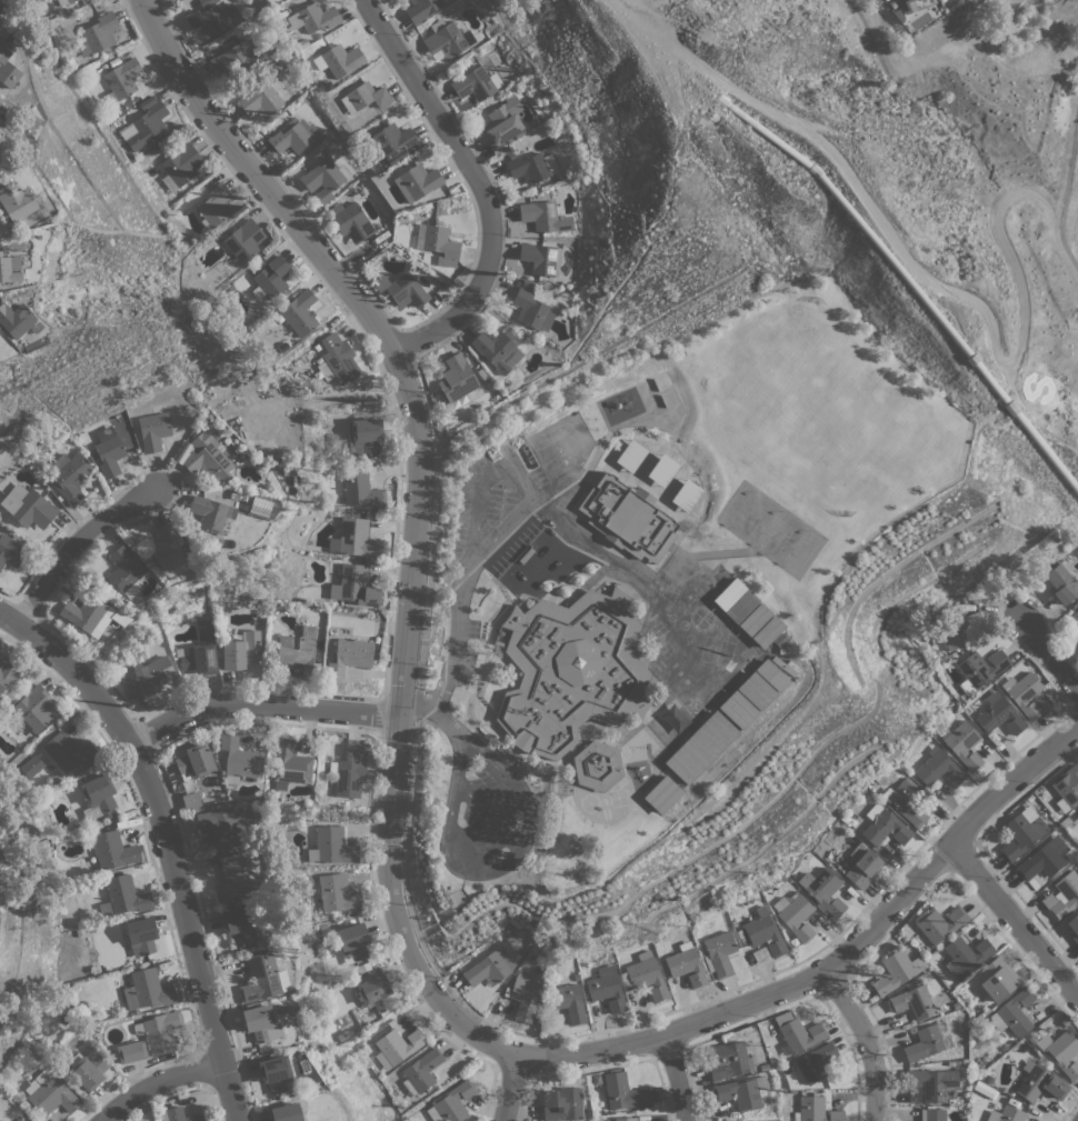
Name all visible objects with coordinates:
building: (918, 0)
road: (1, 1)
building: (63, 2)
building: (207, 3)
building: (904, 4)
building: (421, 9)
building: (898, 14)
building: (317, 17)
building: (213, 18)
building: (98, 33)
building: (447, 38)
building: (238, 57)
building: (339, 60)
building: (7, 68)
building: (122, 79)
building: (476, 83)
building: (363, 97)
building: (260, 100)
building: (144, 123)
building: (502, 124)
building: (293, 137)
building: (390, 140)
building: (180, 167)
building: (532, 167)
building: (325, 178)
building: (417, 181)
road: (478, 183)
building: (17, 202)
building: (214, 206)
building: (543, 217)
building: (350, 221)
building: (244, 240)
building: (441, 244)
building: (540, 258)
building: (9, 269)
building: (270, 276)
road: (931, 287)
building: (401, 288)
building: (531, 308)
building: (298, 313)
building: (18, 320)
road: (458, 331)
building: (497, 350)
building: (336, 359)
building: (456, 377)
road: (410, 383)
building: (153, 431)
building: (363, 436)
building: (210, 453)
building: (109, 456)
building: (631, 456)
road: (512, 467)
building: (289, 470)
building: (662, 470)
building: (70, 474)
building: (360, 488)
building: (687, 494)
building: (29, 508)
building: (210, 513)
building: (628, 518)
road: (475, 522)
building: (538, 531)
building: (355, 539)
building: (526, 544)
building: (166, 546)
road: (84, 548)
building: (11, 549)
building: (513, 558)
building: (123, 568)
building: (501, 571)
building: (1061, 582)
building: (353, 585)
road: (461, 591)
building: (729, 593)
building: (741, 605)
building: (92, 614)
building: (755, 619)
building: (1074, 620)
building: (955, 632)
building: (769, 633)
building: (241, 651)
building: (299, 651)
building: (199, 652)
building: (349, 657)
building: (2, 659)
road: (1054, 662)
building: (981, 667)
building: (571, 670)
building: (6, 674)
building: (770, 674)
building: (149, 675)
building: (755, 691)
building: (1024, 694)
road: (264, 703)
road: (436, 707)
building: (737, 709)
building: (32, 710)
building: (999, 714)
building: (964, 744)
building: (699, 747)
building: (69, 751)
building: (239, 760)
building: (194, 761)
building: (289, 764)
building: (596, 765)
building: (30, 767)
building: (938, 768)
building: (348, 771)
building: (1067, 788)
building: (662, 794)
building: (97, 795)
building: (190, 800)
building: (906, 801)
building: (1077, 808)
road: (487, 814)
building: (1077, 815)
building: (884, 825)
building: (223, 827)
building: (1022, 832)
road: (170, 834)
building: (332, 847)
building: (113, 850)
building: (1044, 859)
building: (860, 865)
road: (497, 868)
building: (236, 878)
building: (822, 890)
building: (338, 893)
building: (1062, 895)
building: (123, 897)
building: (796, 915)
road: (1016, 919)
building: (238, 925)
building: (937, 927)
building: (1074, 928)
building: (763, 932)
building: (141, 935)
building: (352, 942)
building: (719, 953)
building: (761, 955)
building: (965, 955)
building: (490, 967)
building: (687, 967)
road: (839, 967)
building: (897, 971)
road: (422, 973)
building: (260, 977)
building: (645, 977)
building: (997, 979)
building: (607, 989)
building: (147, 990)
building: (375, 992)
building: (525, 998)
building: (912, 1001)
building: (569, 1002)
building: (1014, 1012)
building: (553, 1019)
building: (260, 1023)
building: (160, 1031)
building: (799, 1032)
building: (924, 1043)
building: (398, 1044)
road: (868, 1044)
building: (131, 1052)
building: (1061, 1052)
building: (727, 1060)
building: (817, 1060)
building: (88, 1069)
building: (421, 1071)
building: (276, 1074)
road: (673, 1078)
building: (1039, 1083)
building: (929, 1084)
road: (164, 1088)
road: (513, 1088)
building: (985, 1090)
building: (622, 1091)
building: (741, 1092)
building: (51, 1093)
building: (451, 1102)
building: (562, 1104)
building: (816, 1110)
building: (286, 1112)
building: (184, 1113)
building: (938, 1113)
building: (1006, 1114)
building: (626, 1119)

